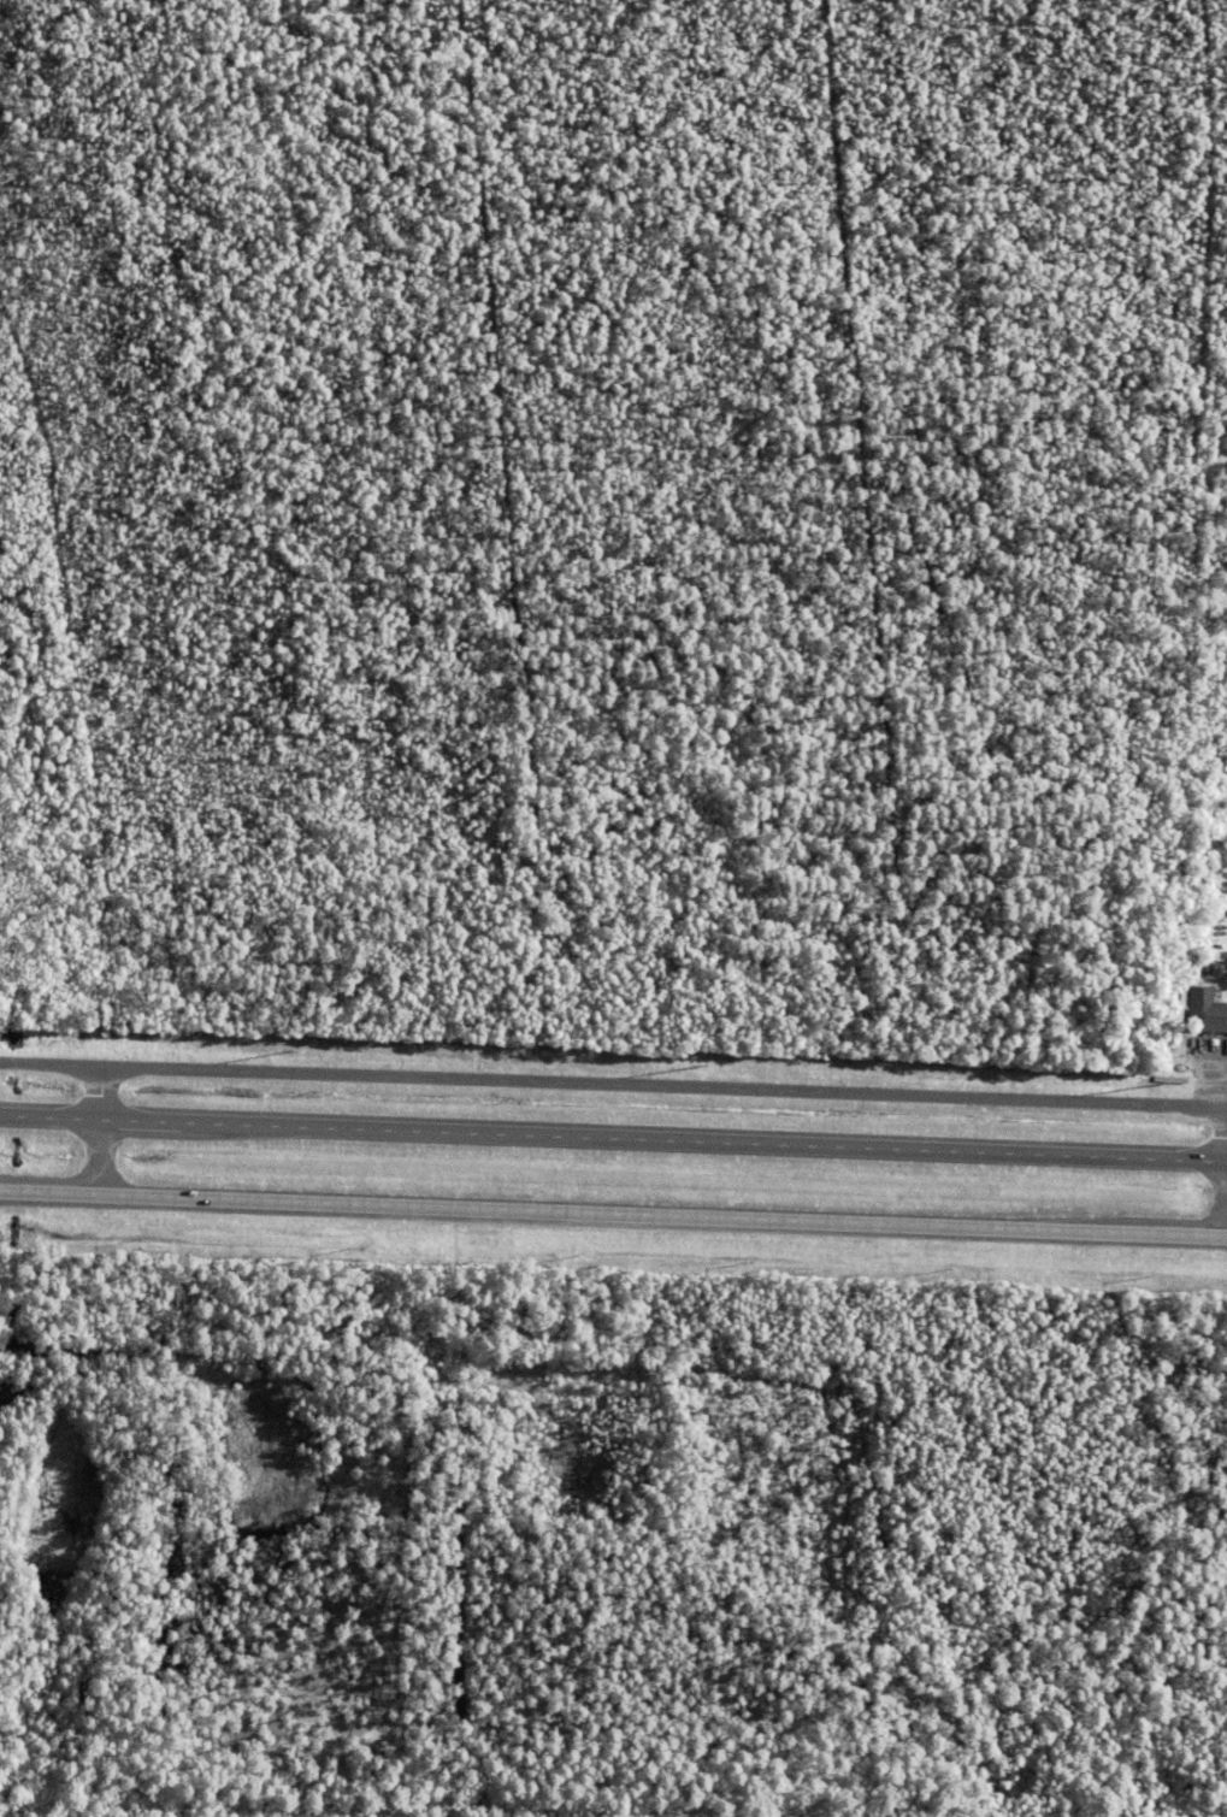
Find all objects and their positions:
building: (1216, 921)
building: (1205, 1014)
road: (613, 1085)
road: (100, 1132)
road: (613, 1137)
road: (613, 1217)

